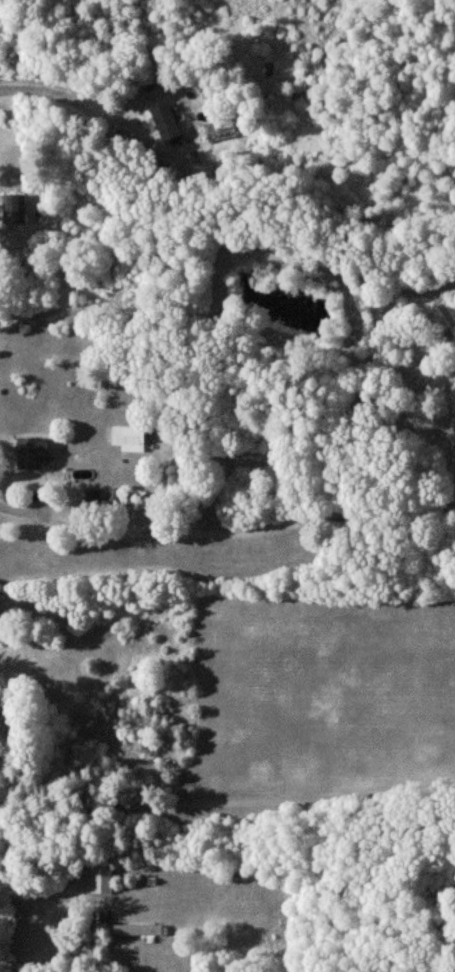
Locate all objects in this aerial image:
road: (64, 98)
building: (168, 123)
building: (15, 209)
building: (130, 437)
building: (33, 450)
road: (18, 509)
road: (244, 528)
road: (226, 810)
building: (101, 880)
building: (137, 929)

